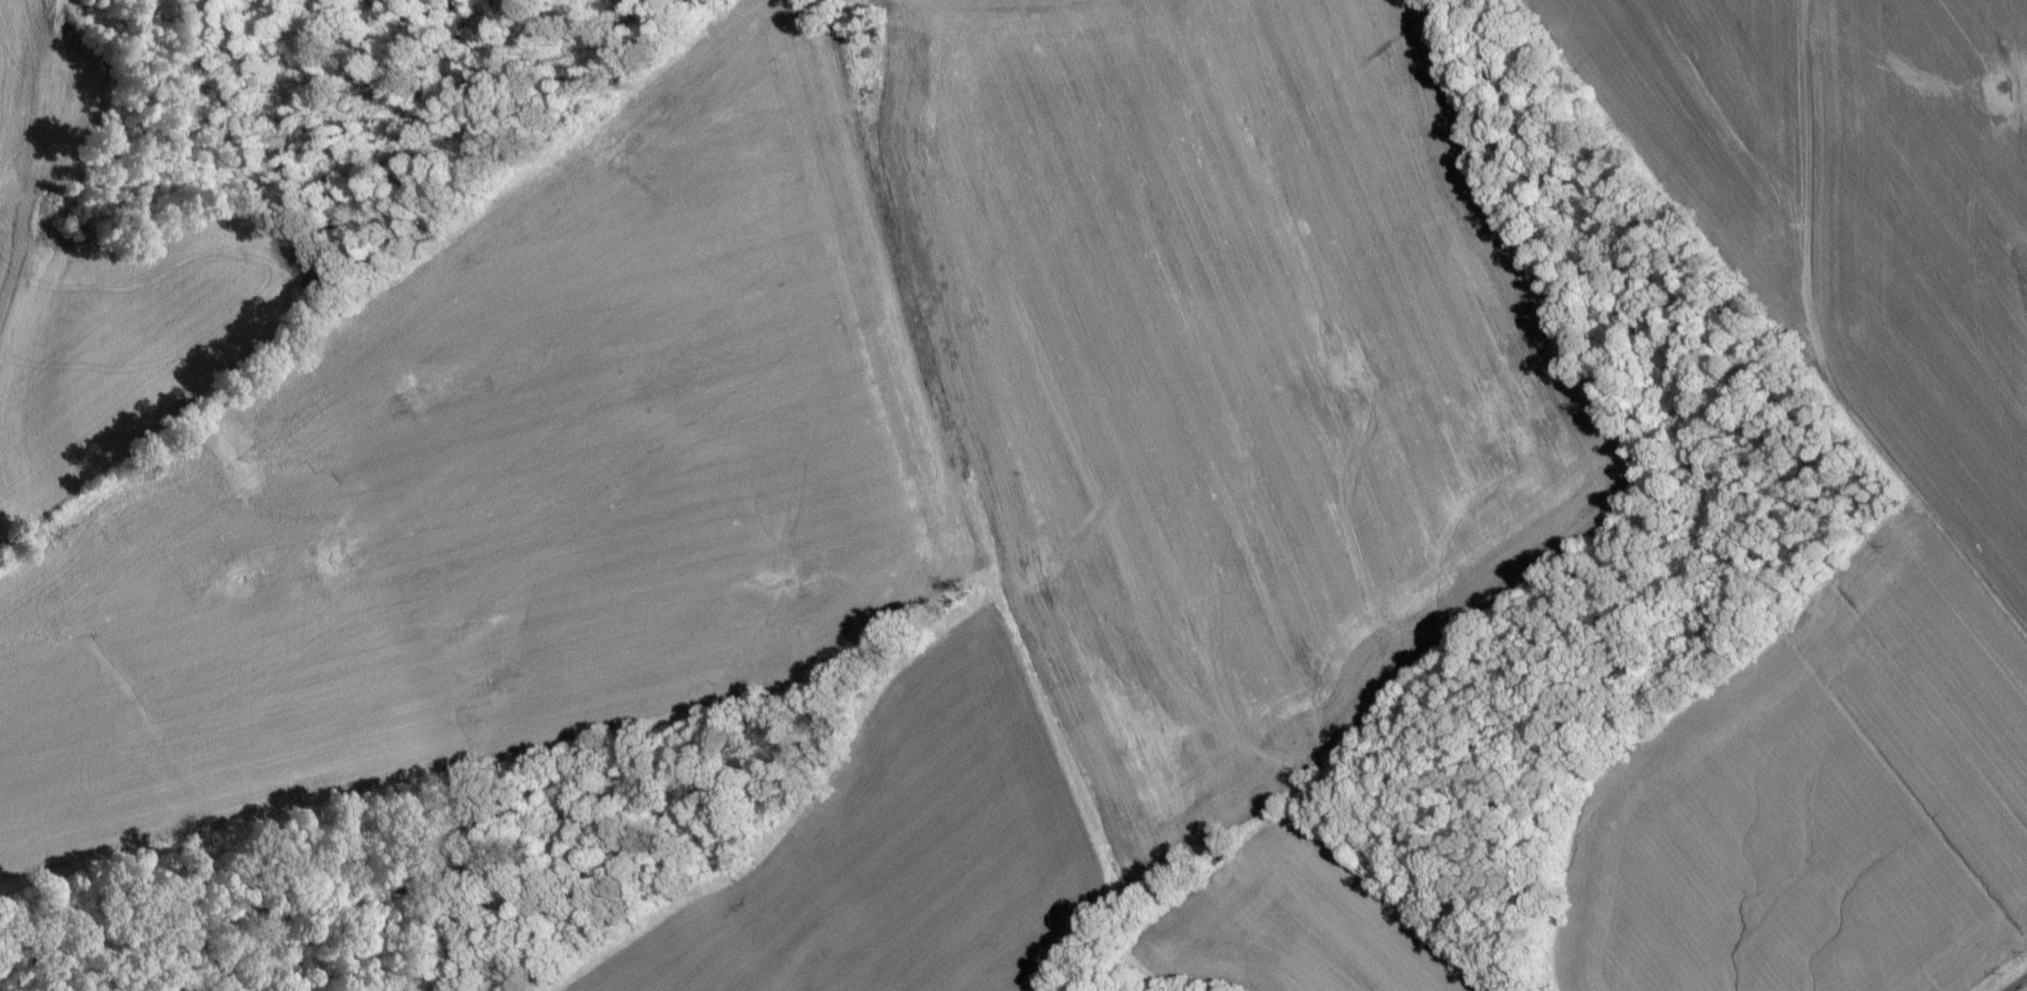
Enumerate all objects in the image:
road: (2013, 980)

